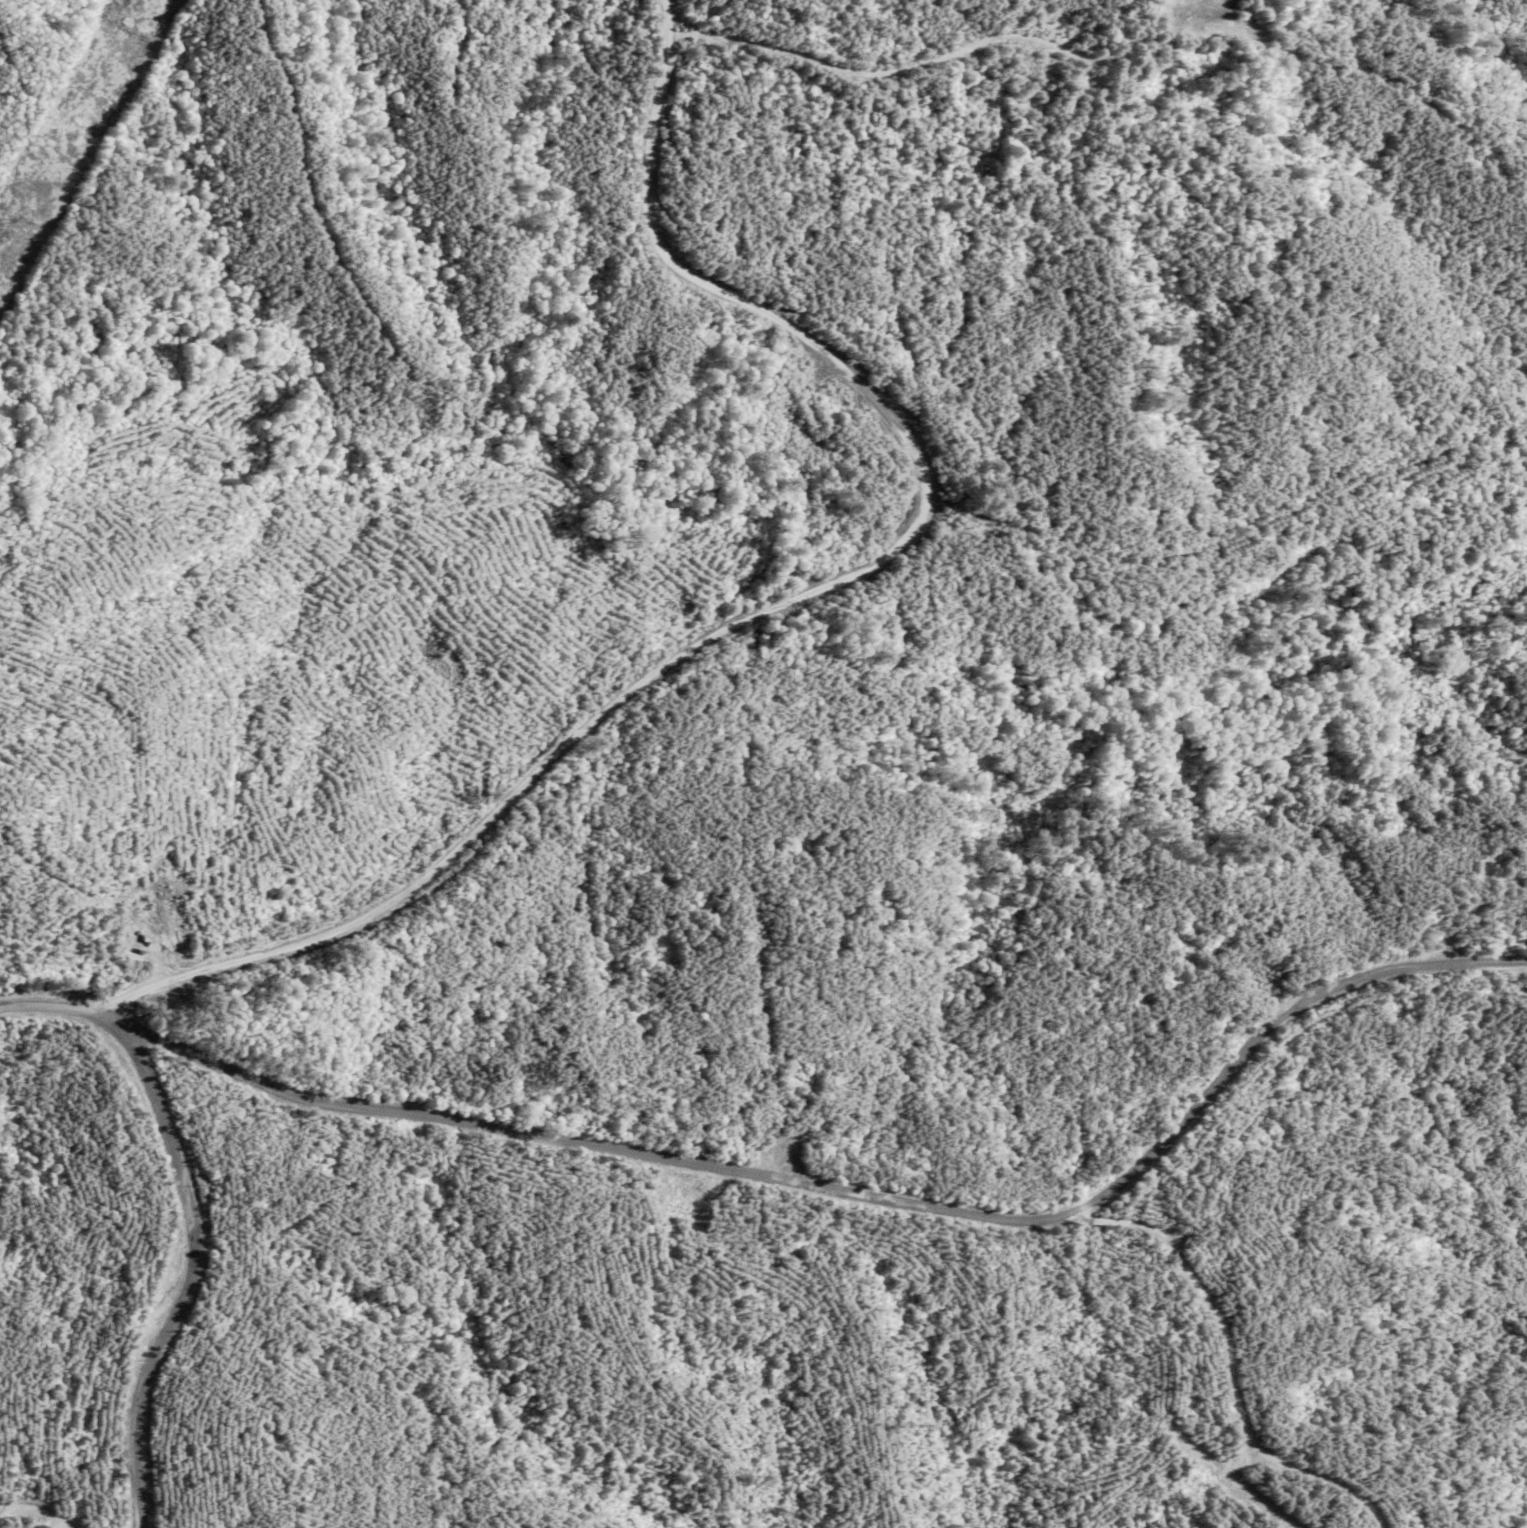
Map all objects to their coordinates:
power tower: (17, 221)
road: (798, 1177)
road: (191, 1280)

